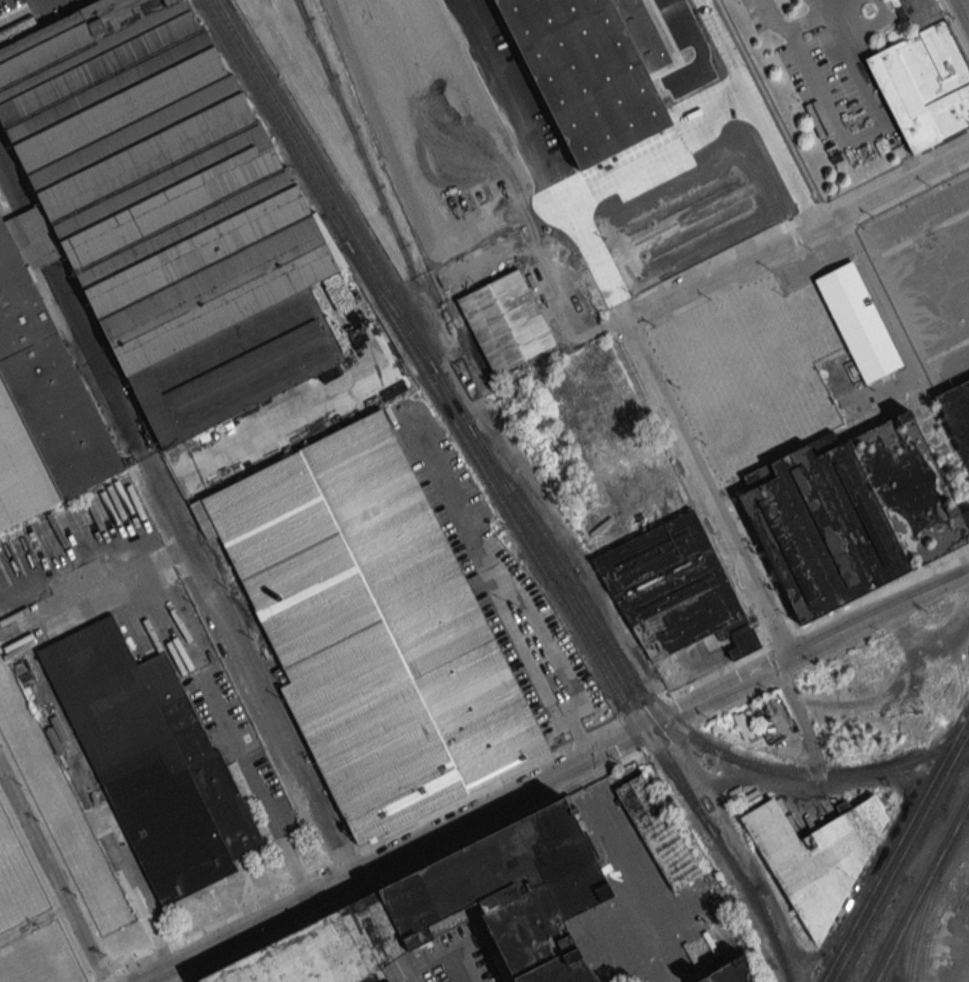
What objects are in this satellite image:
road: (829, 5)
road: (964, 9)
road: (771, 17)
road: (954, 28)
road: (695, 47)
building: (589, 69)
building: (924, 80)
road: (759, 113)
railway: (274, 122)
parking lot: (433, 125)
road: (843, 136)
road: (663, 149)
railway: (323, 184)
building: (170, 212)
road: (799, 235)
railway: (390, 306)
building: (506, 323)
building: (857, 324)
road: (643, 356)
building: (41, 404)
building: (957, 416)
railway: (469, 450)
road: (174, 511)
building: (849, 517)
building: (964, 522)
road: (516, 598)
building: (679, 598)
railway: (573, 601)
building: (371, 628)
railway: (656, 709)
railway: (651, 746)
building: (150, 761)
road: (554, 774)
building: (660, 830)
railway: (896, 847)
building: (813, 856)
railway: (901, 857)
road: (51, 876)
railway: (917, 884)
building: (505, 892)
railway: (922, 892)
railway: (925, 900)
railway: (755, 905)
road: (382, 928)
building: (321, 949)
road: (442, 961)
building: (726, 972)

